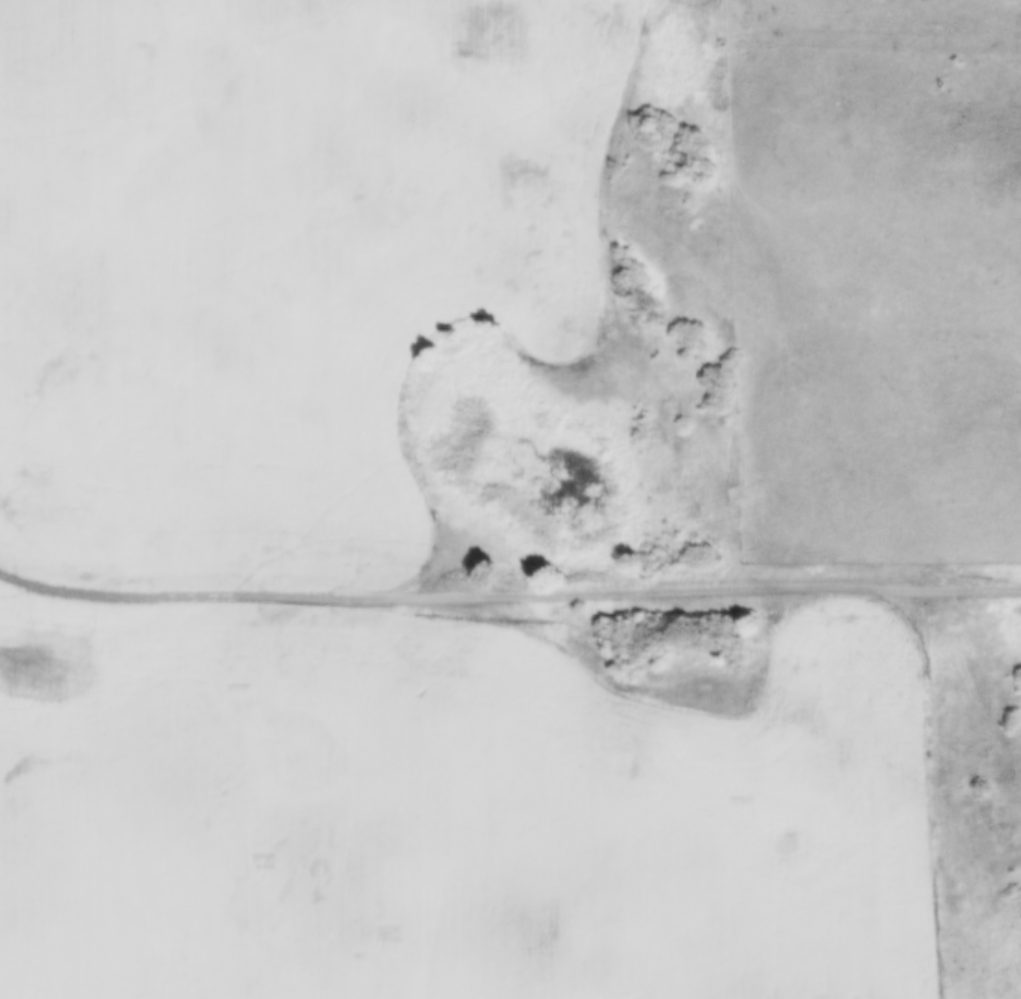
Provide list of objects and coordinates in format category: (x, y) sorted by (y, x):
road: (510, 596)

